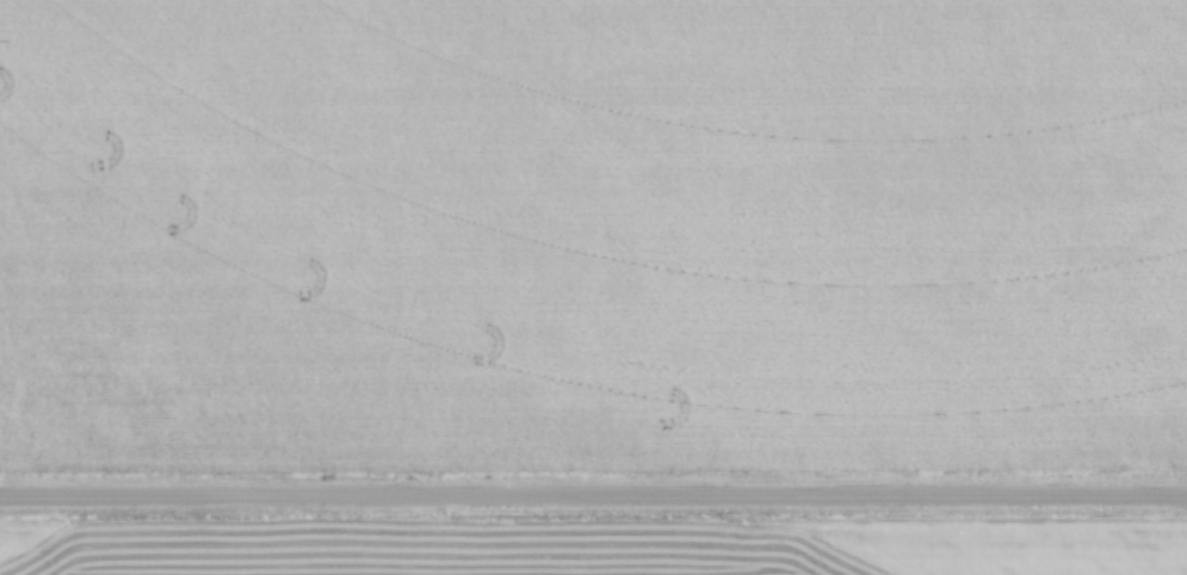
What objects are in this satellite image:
road: (593, 497)

